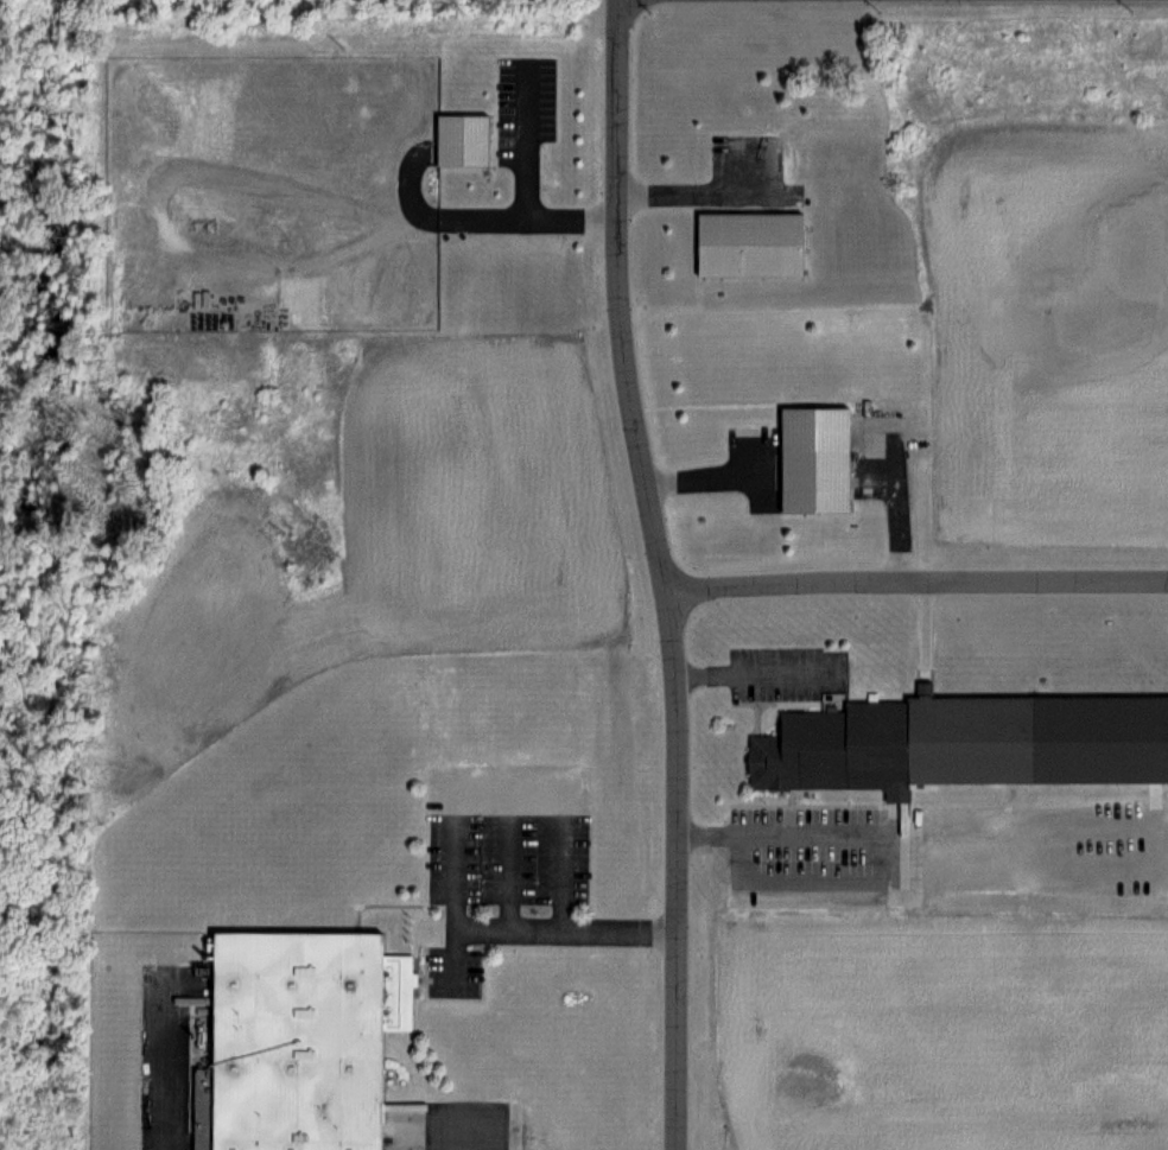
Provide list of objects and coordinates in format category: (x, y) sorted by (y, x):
road: (509, 136)
road: (696, 193)
road: (481, 208)
building: (748, 243)
building: (812, 459)
park: (59, 540)
road: (664, 573)
road: (918, 580)
road: (756, 674)
building: (895, 744)
road: (1137, 825)
road: (436, 826)
road: (30, 891)
building: (298, 1037)
road: (147, 1063)

